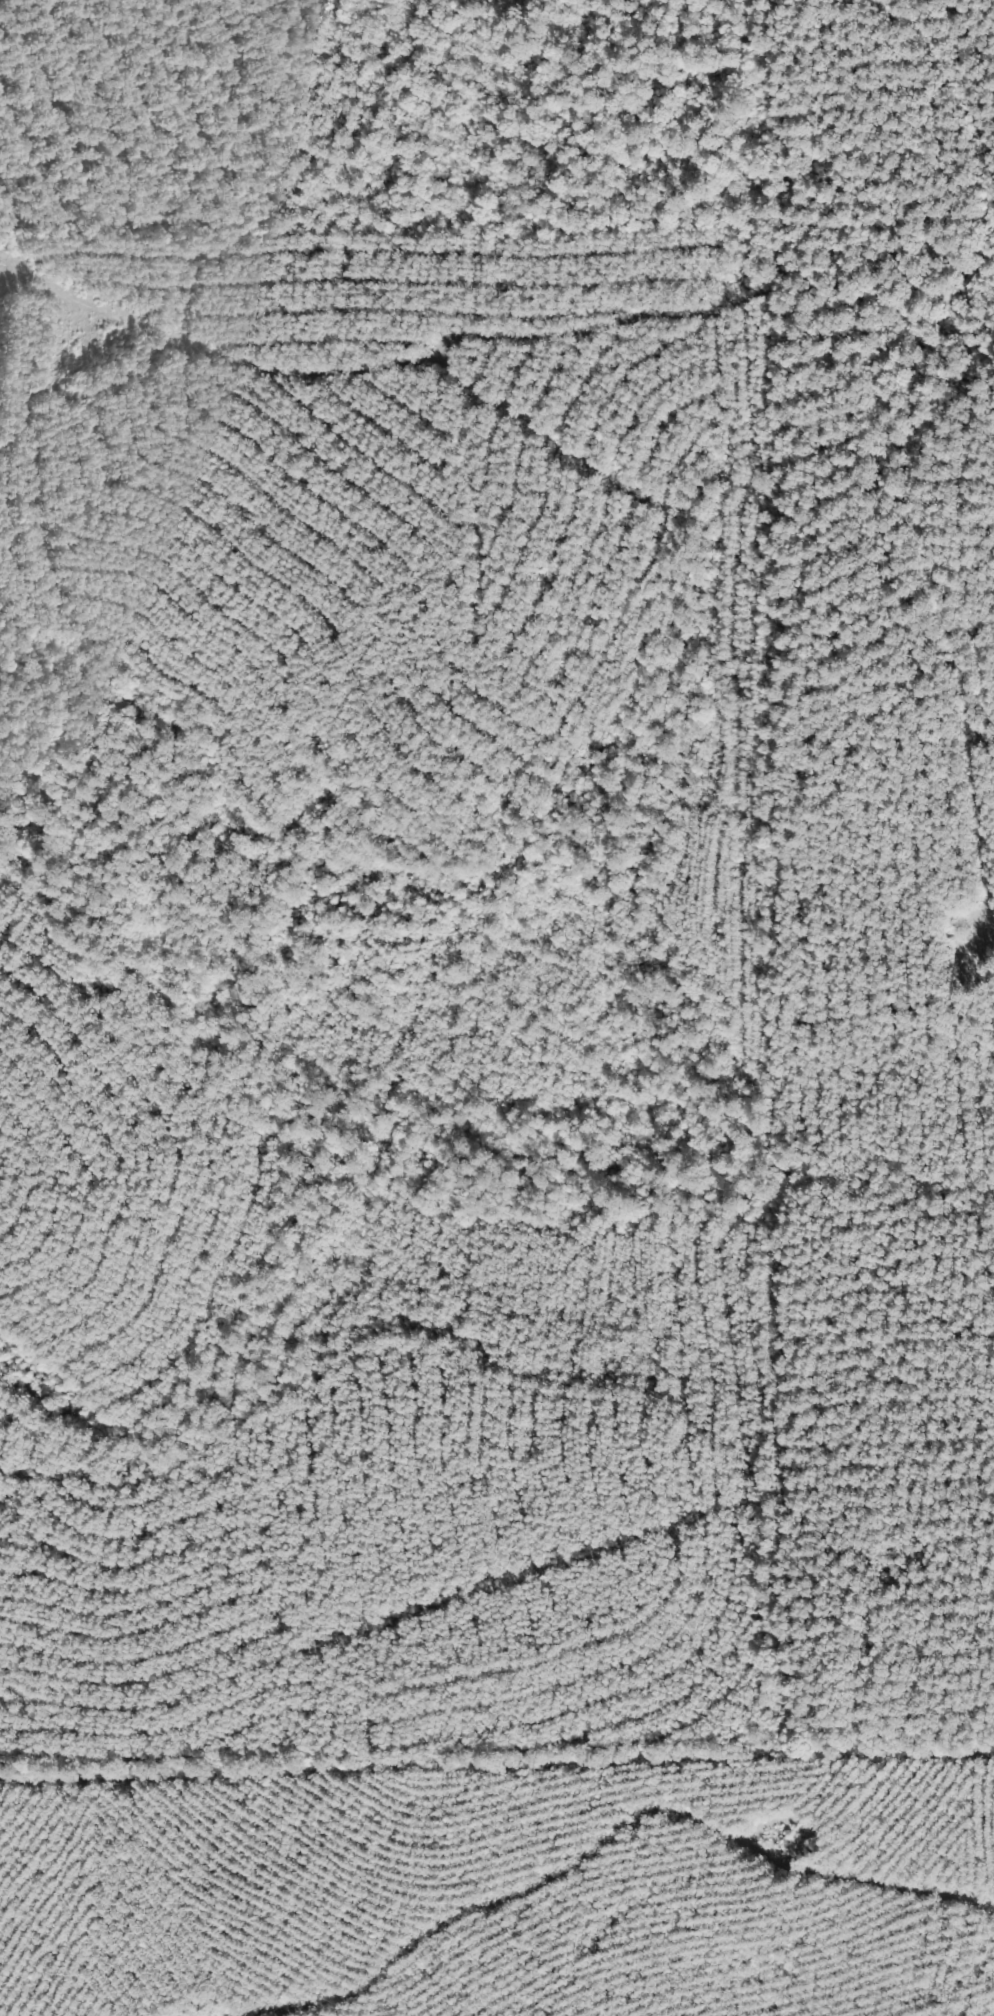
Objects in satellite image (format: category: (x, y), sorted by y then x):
road: (919, 183)

